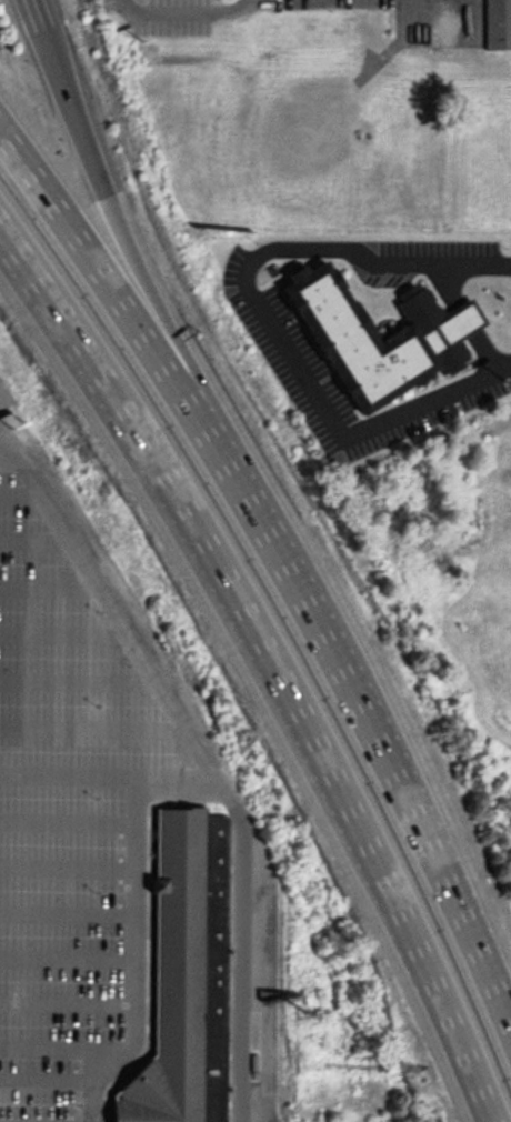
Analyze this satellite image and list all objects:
road: (184, 14)
road: (38, 17)
parking lot: (163, 17)
building: (498, 23)
building: (369, 30)
road: (109, 208)
parking lot: (438, 248)
building: (462, 317)
road: (267, 318)
road: (465, 319)
parking lot: (272, 331)
building: (370, 335)
parking lot: (8, 412)
road: (18, 493)
road: (31, 539)
road: (287, 543)
road: (46, 584)
road: (61, 634)
road: (268, 669)
road: (76, 681)
road: (90, 729)
road: (200, 760)
road: (106, 778)
parking lot: (71, 800)
road: (69, 819)
road: (69, 866)
road: (69, 913)
road: (137, 958)
road: (68, 959)
building: (183, 978)
road: (68, 1010)
road: (63, 1049)
road: (49, 1081)
parking lot: (259, 1121)

